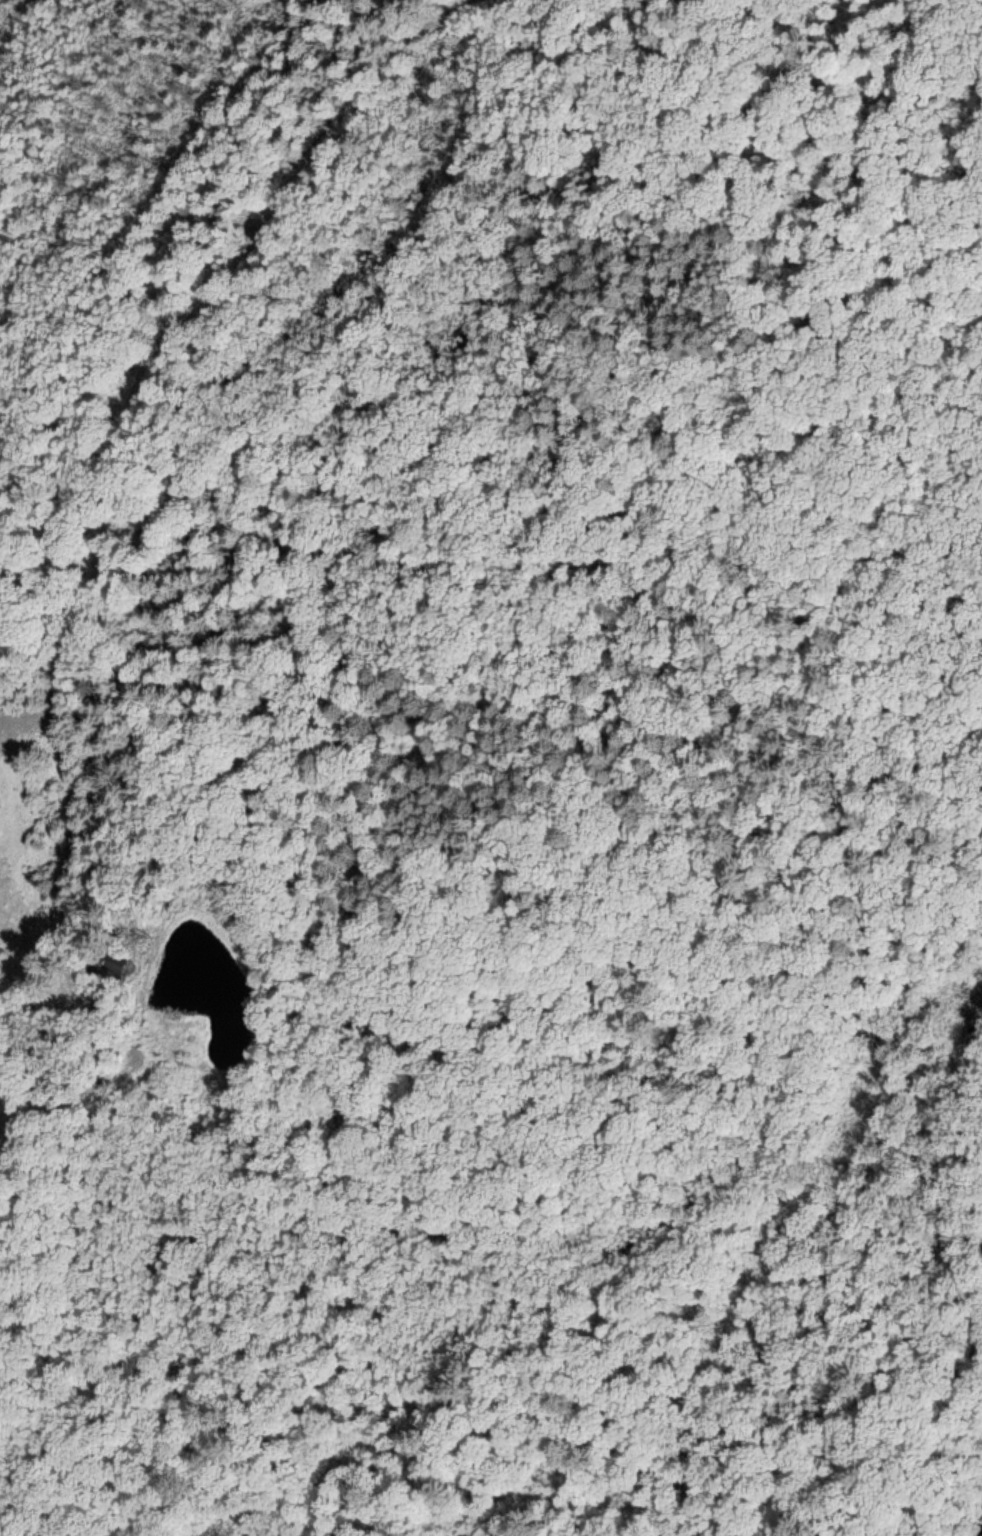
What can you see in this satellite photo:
road: (401, 762)
building: (117, 966)
road: (940, 1461)

